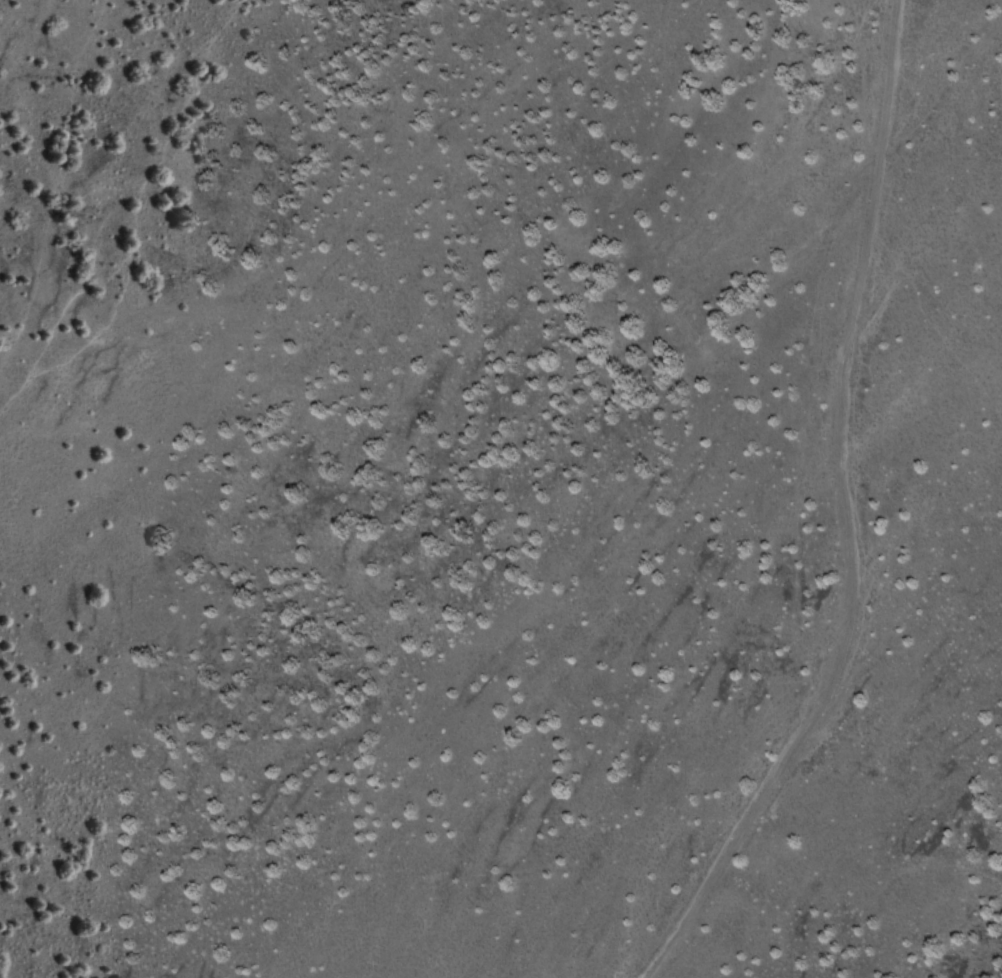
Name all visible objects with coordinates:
road: (850, 515)

